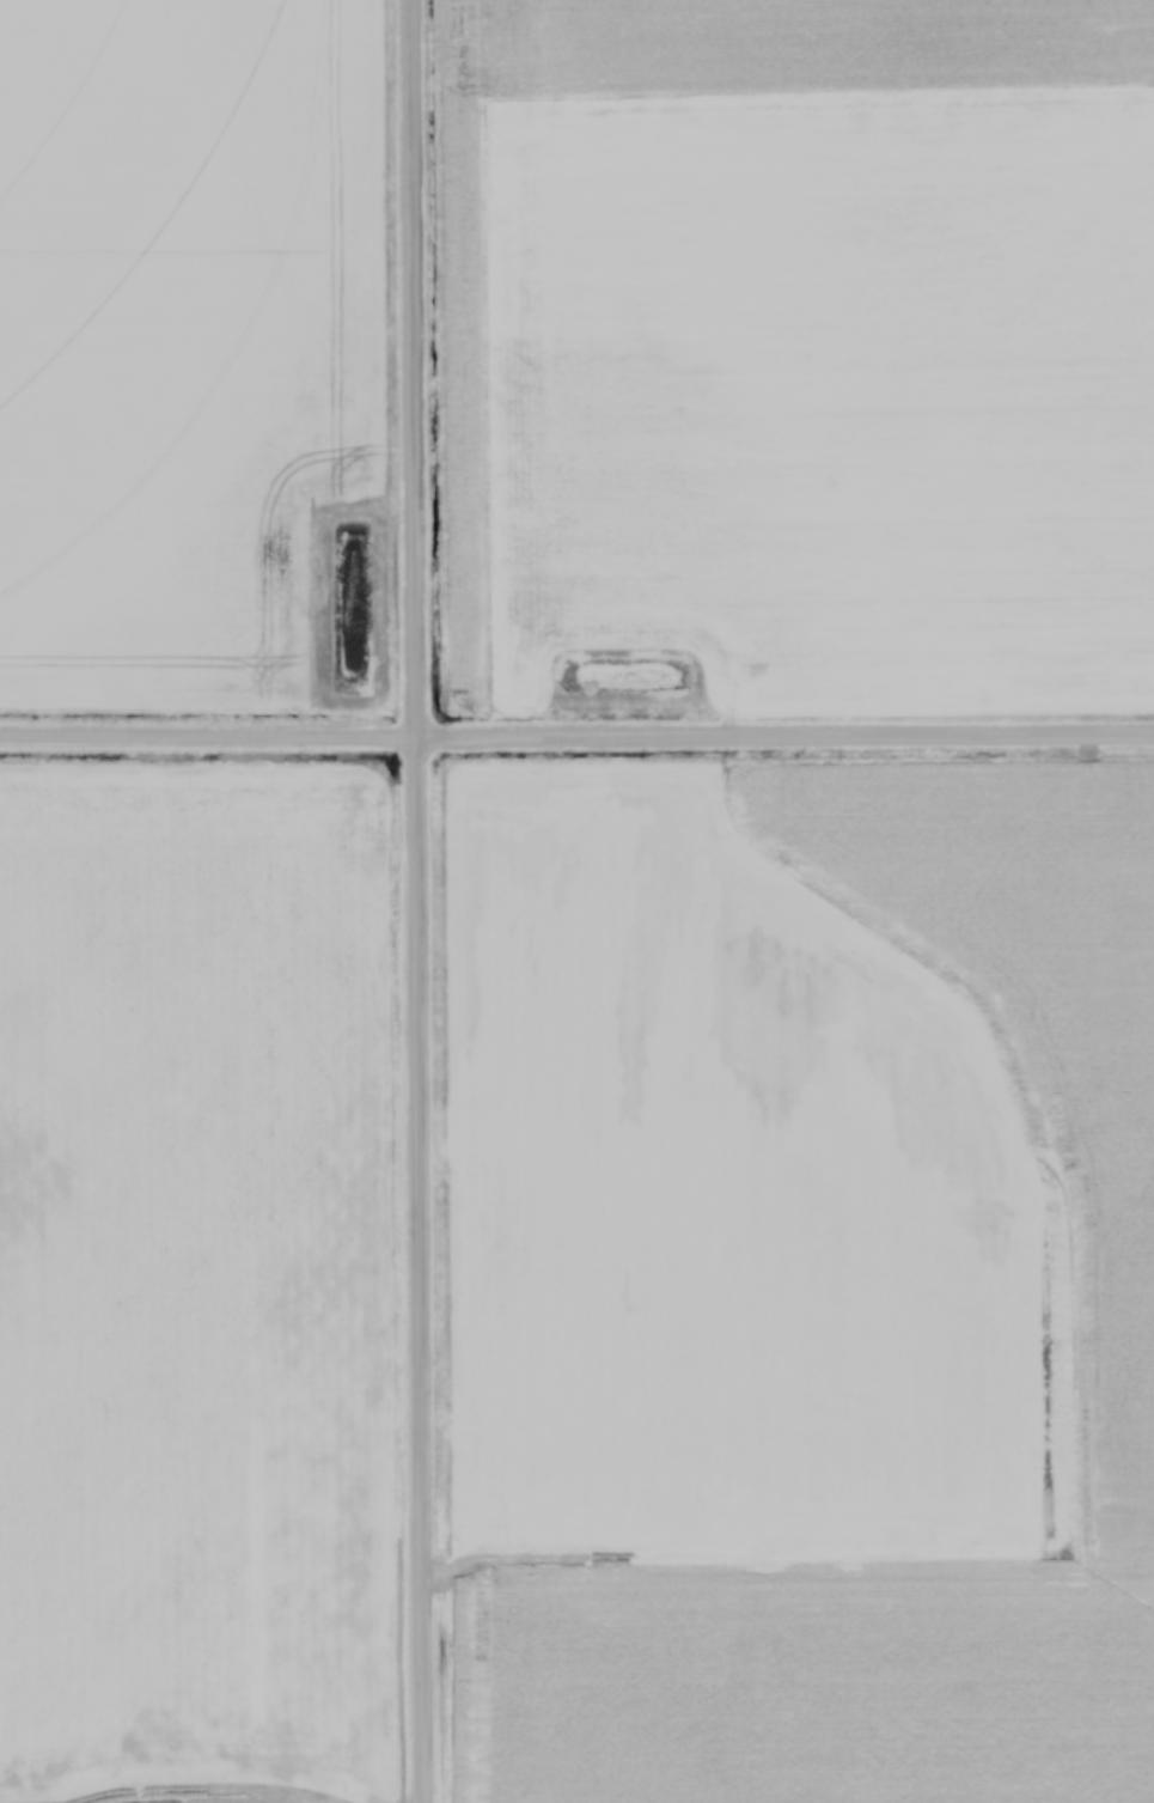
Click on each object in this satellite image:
crop: (185, 336)
crop: (807, 342)
road: (576, 736)
road: (416, 901)
crop: (802, 1281)
crop: (194, 1285)

